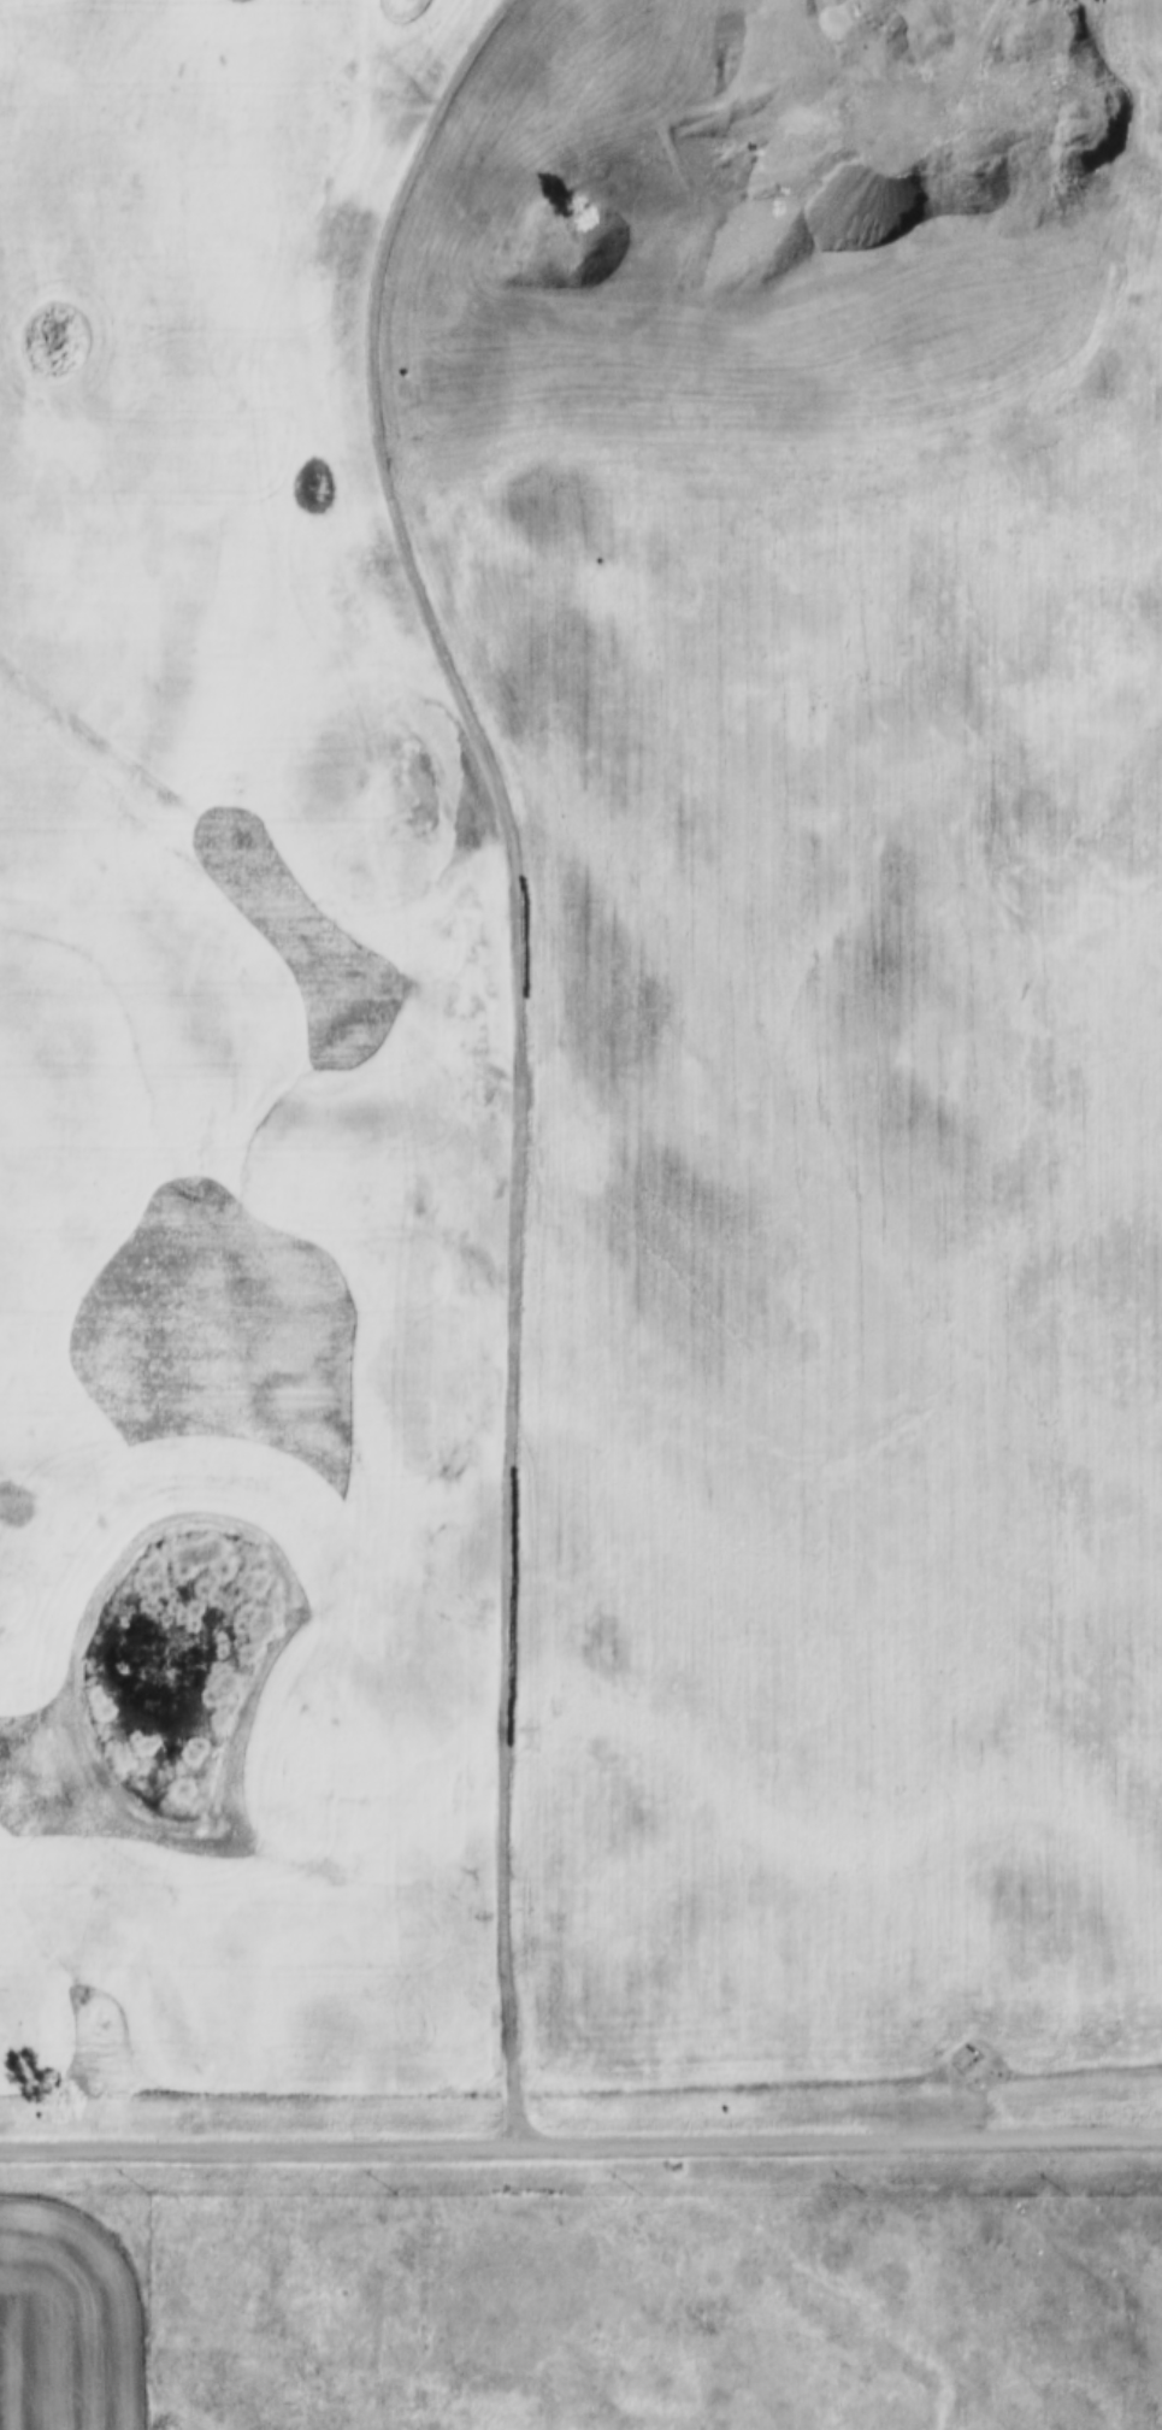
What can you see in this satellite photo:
road: (931, 88)
quarry: (809, 164)
road: (518, 1042)
road: (580, 2136)

